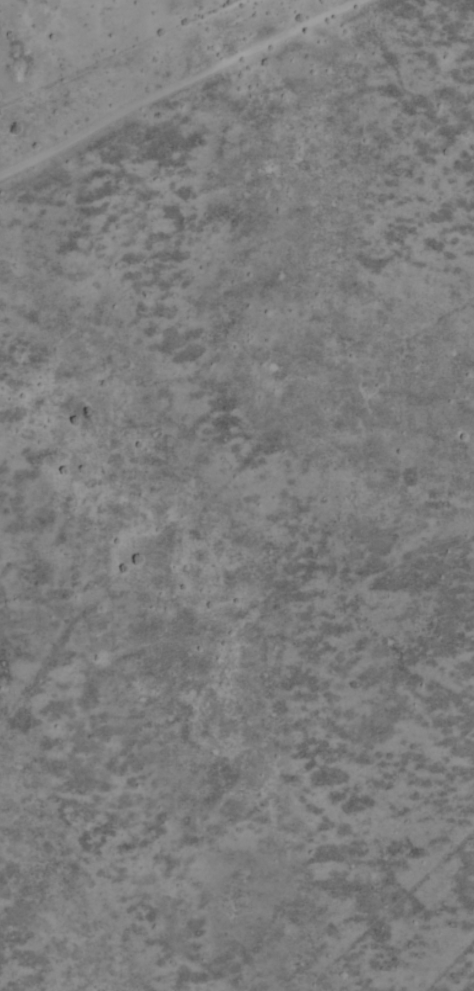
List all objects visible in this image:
road: (165, 70)

